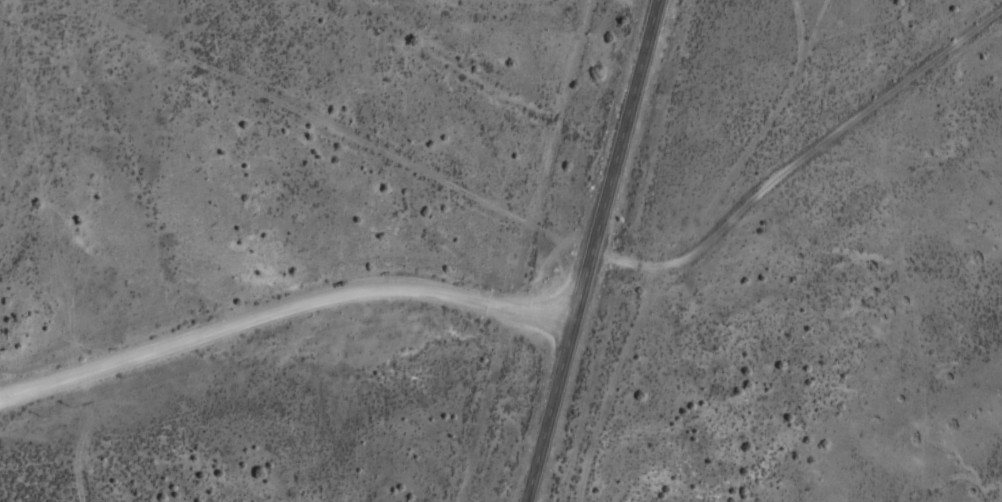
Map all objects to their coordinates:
road: (326, 127)
road: (594, 251)
road: (616, 258)
road: (285, 307)
road: (659, 322)

